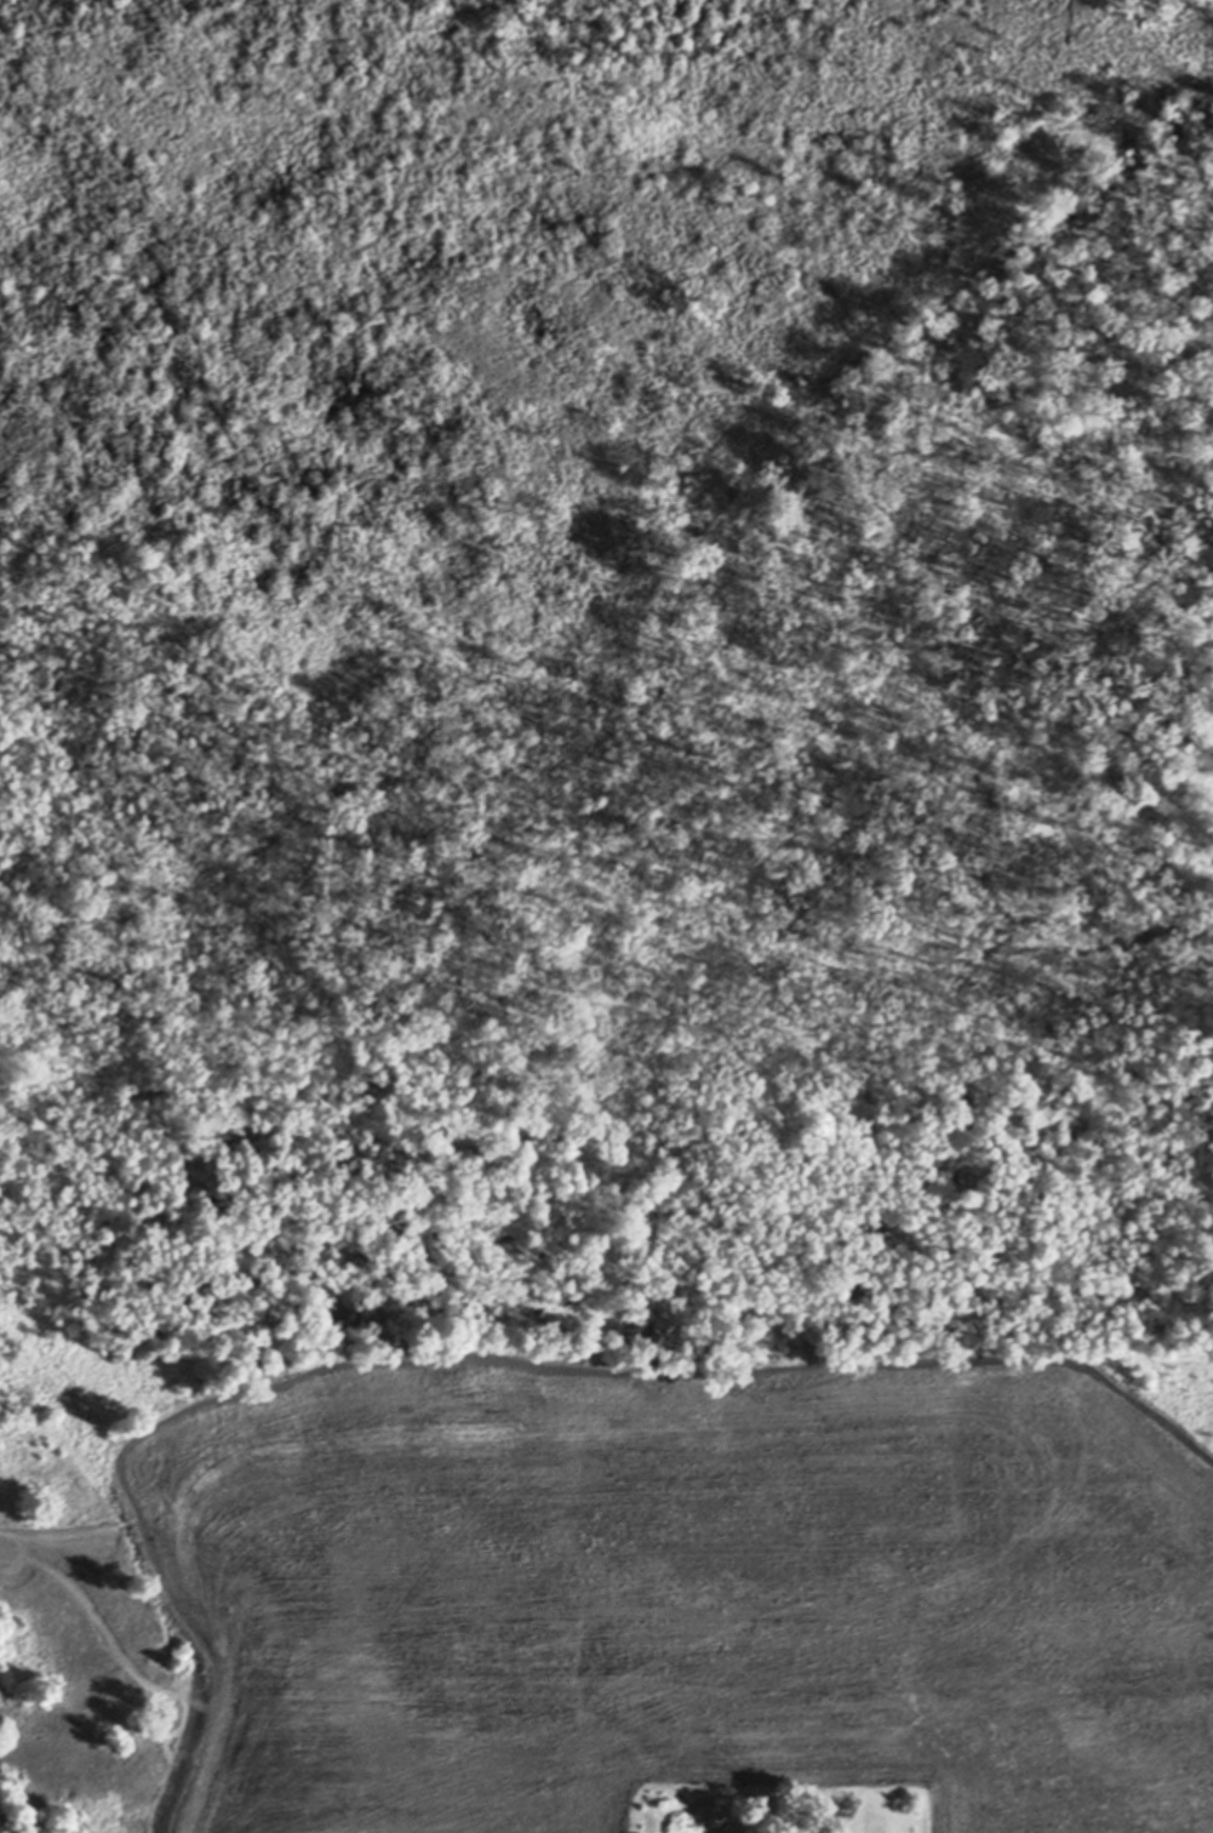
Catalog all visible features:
building: (736, 1831)

